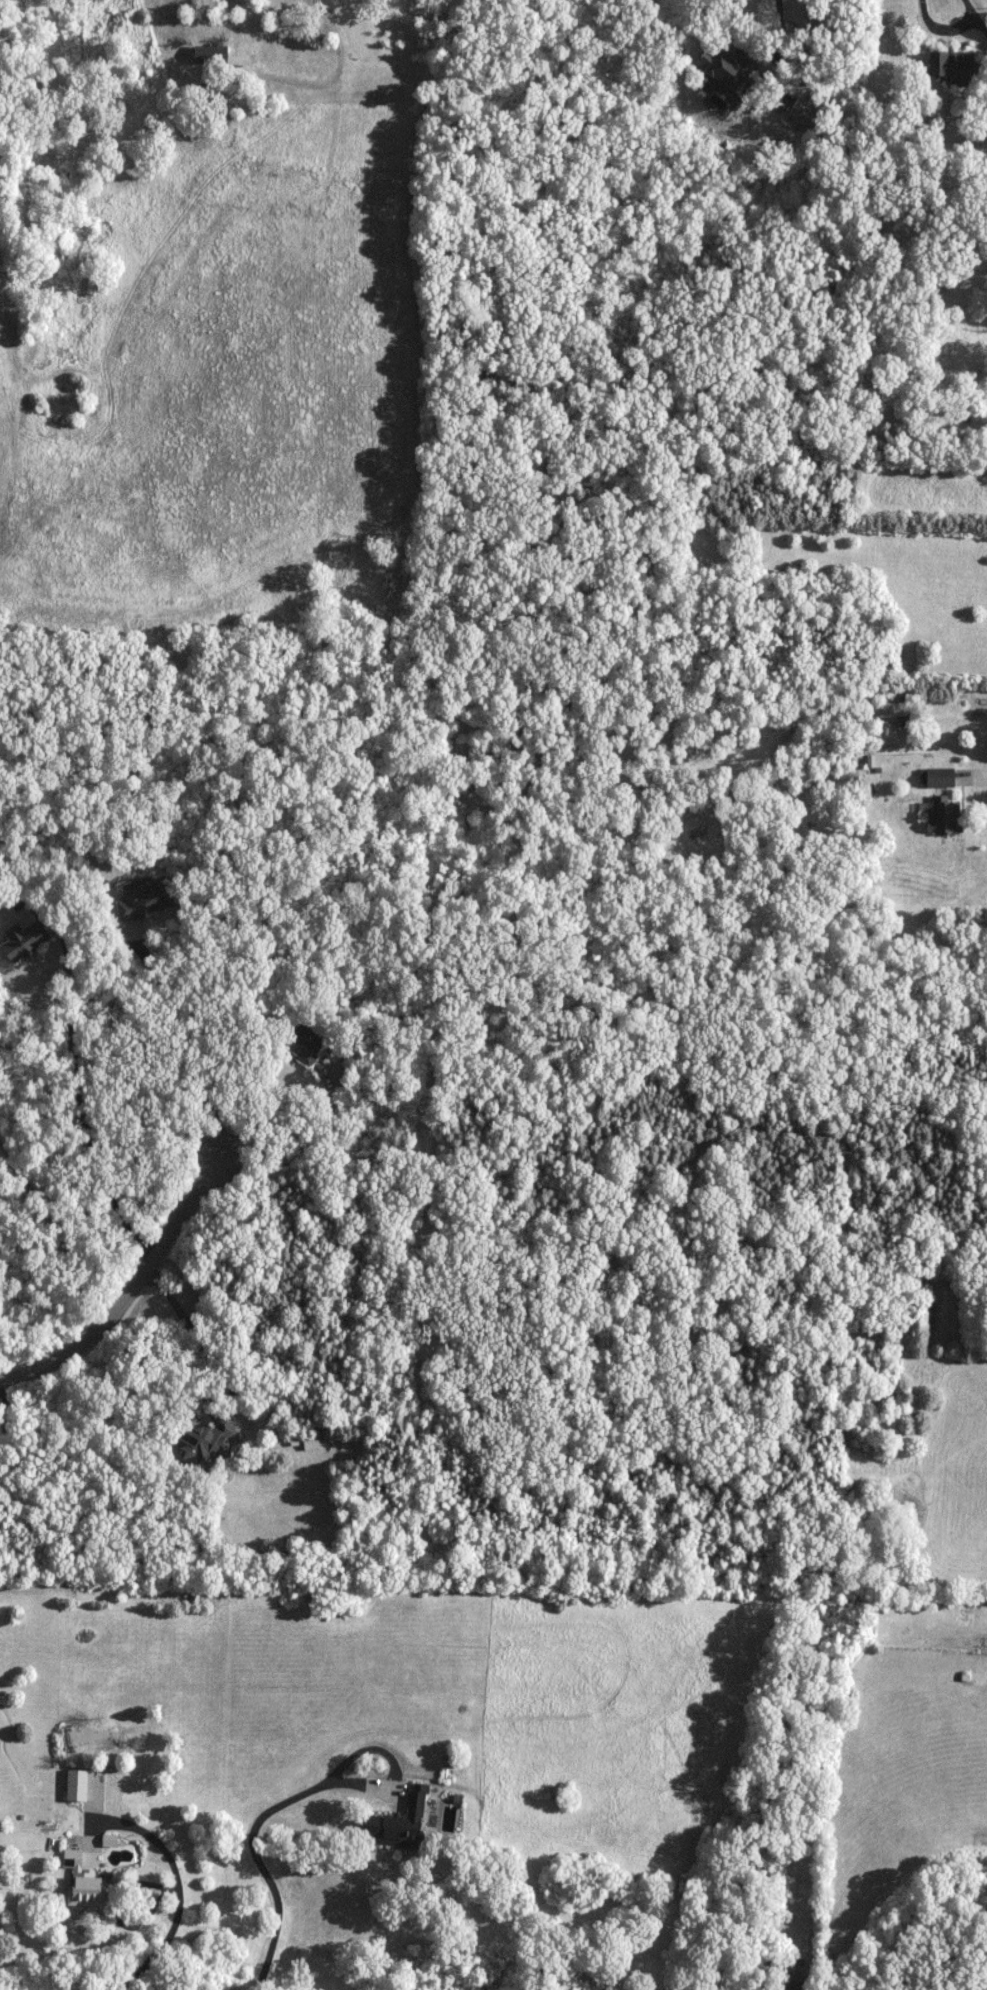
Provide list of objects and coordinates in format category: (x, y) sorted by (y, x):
road: (979, 26)
road: (947, 30)
road: (760, 51)
building: (214, 60)
building: (726, 66)
building: (956, 67)
road: (321, 70)
building: (875, 763)
road: (986, 767)
building: (940, 777)
building: (944, 815)
building: (144, 898)
building: (24, 941)
road: (27, 1007)
building: (301, 1042)
road: (123, 1102)
road: (147, 1165)
road: (181, 1231)
road: (55, 1235)
road: (217, 1371)
road: (10, 1411)
building: (208, 1438)
building: (311, 1441)
building: (399, 1822)
road: (257, 1863)
road: (374, 1870)
building: (87, 1889)
road: (178, 1895)
road: (470, 1945)
building: (796, 1981)
building: (718, 1985)

